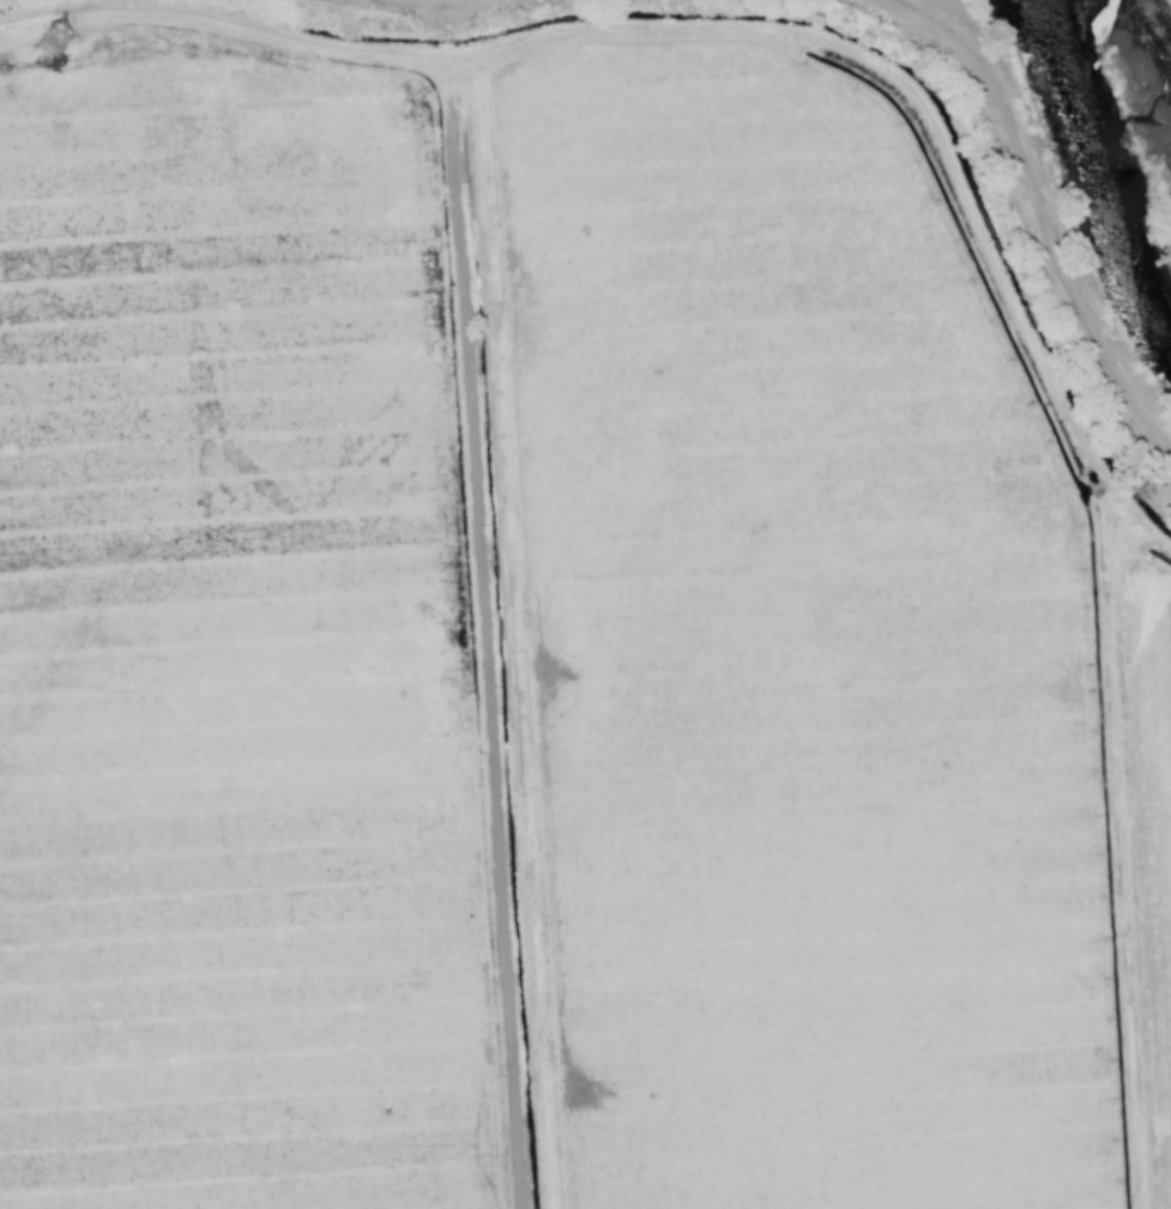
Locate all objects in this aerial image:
road: (723, 11)
river: (1100, 58)
river: (1131, 217)
road: (1051, 218)

